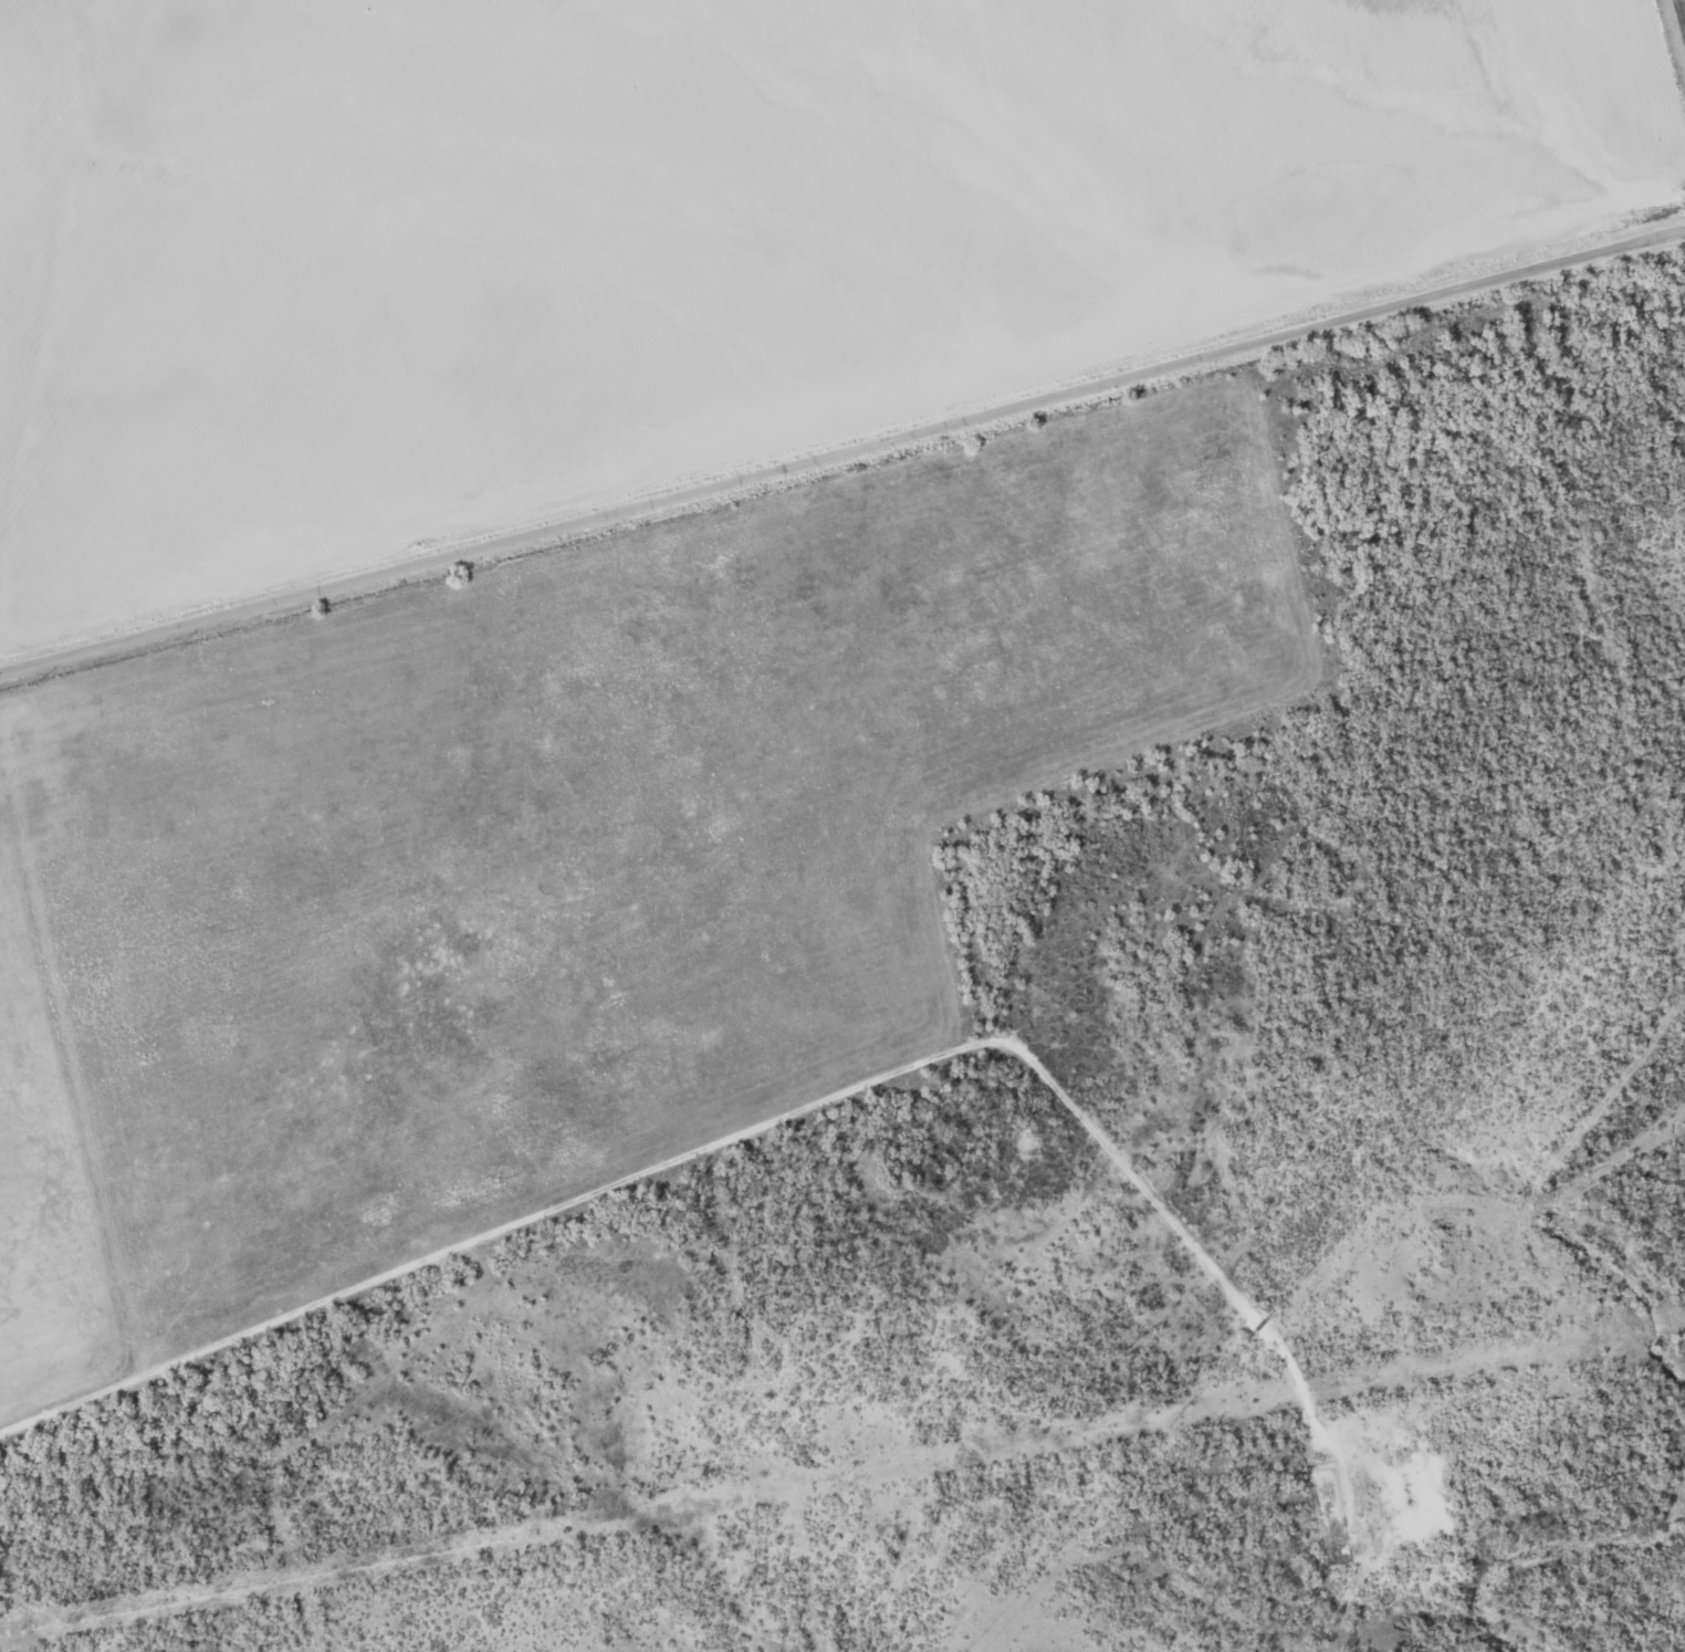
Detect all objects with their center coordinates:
road: (1682, 12)
road: (842, 451)

